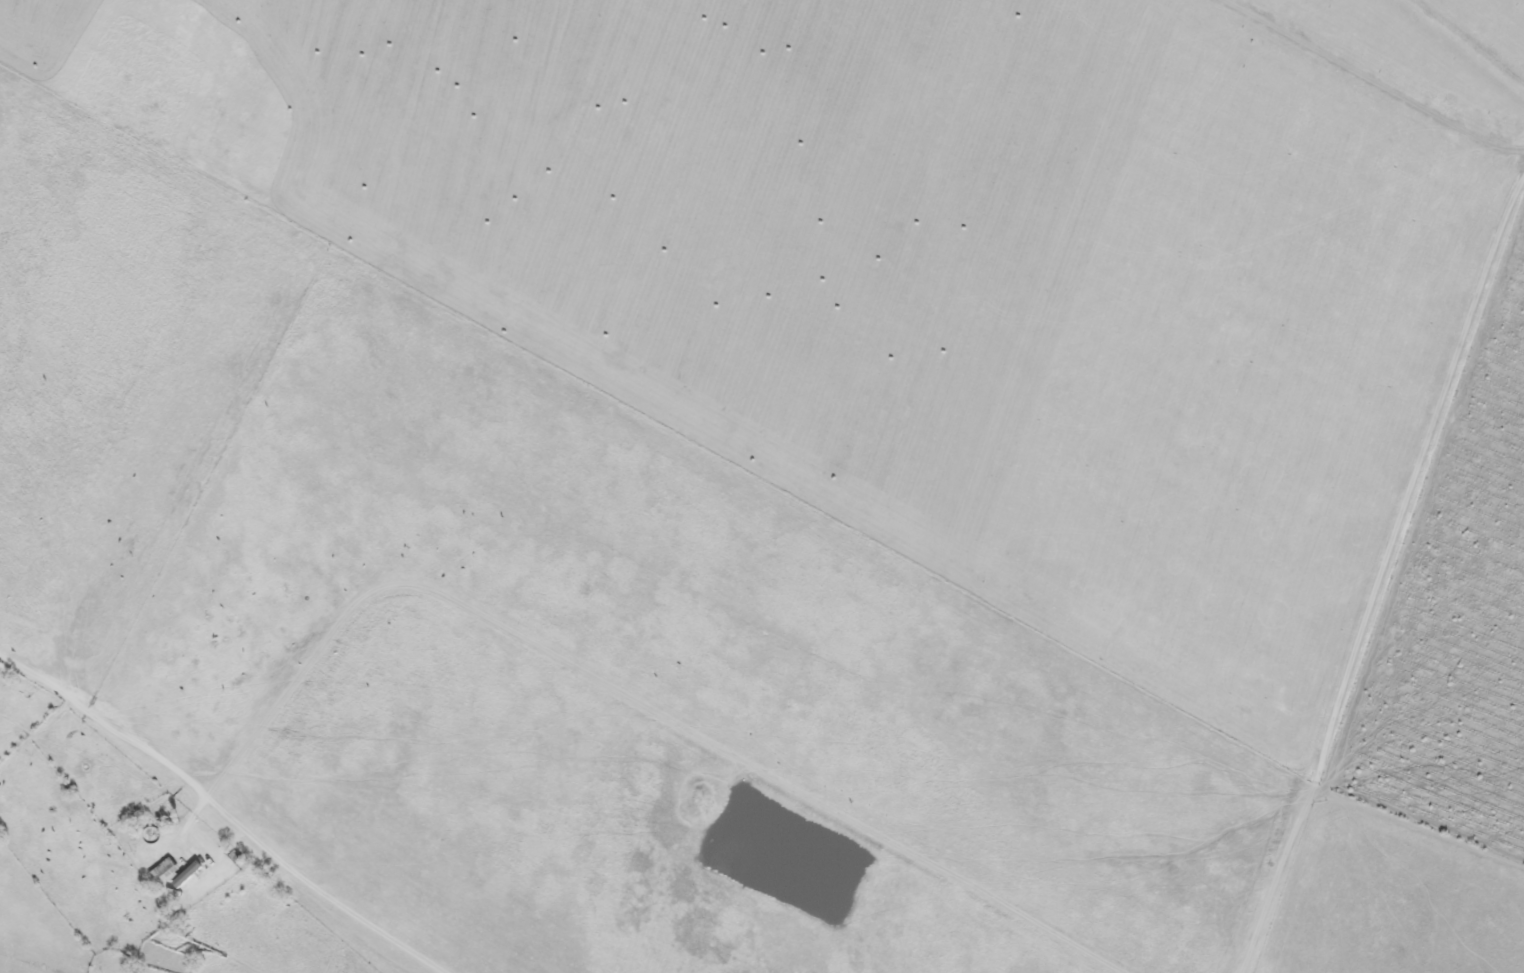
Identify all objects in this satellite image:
building: (165, 872)
building: (185, 878)

